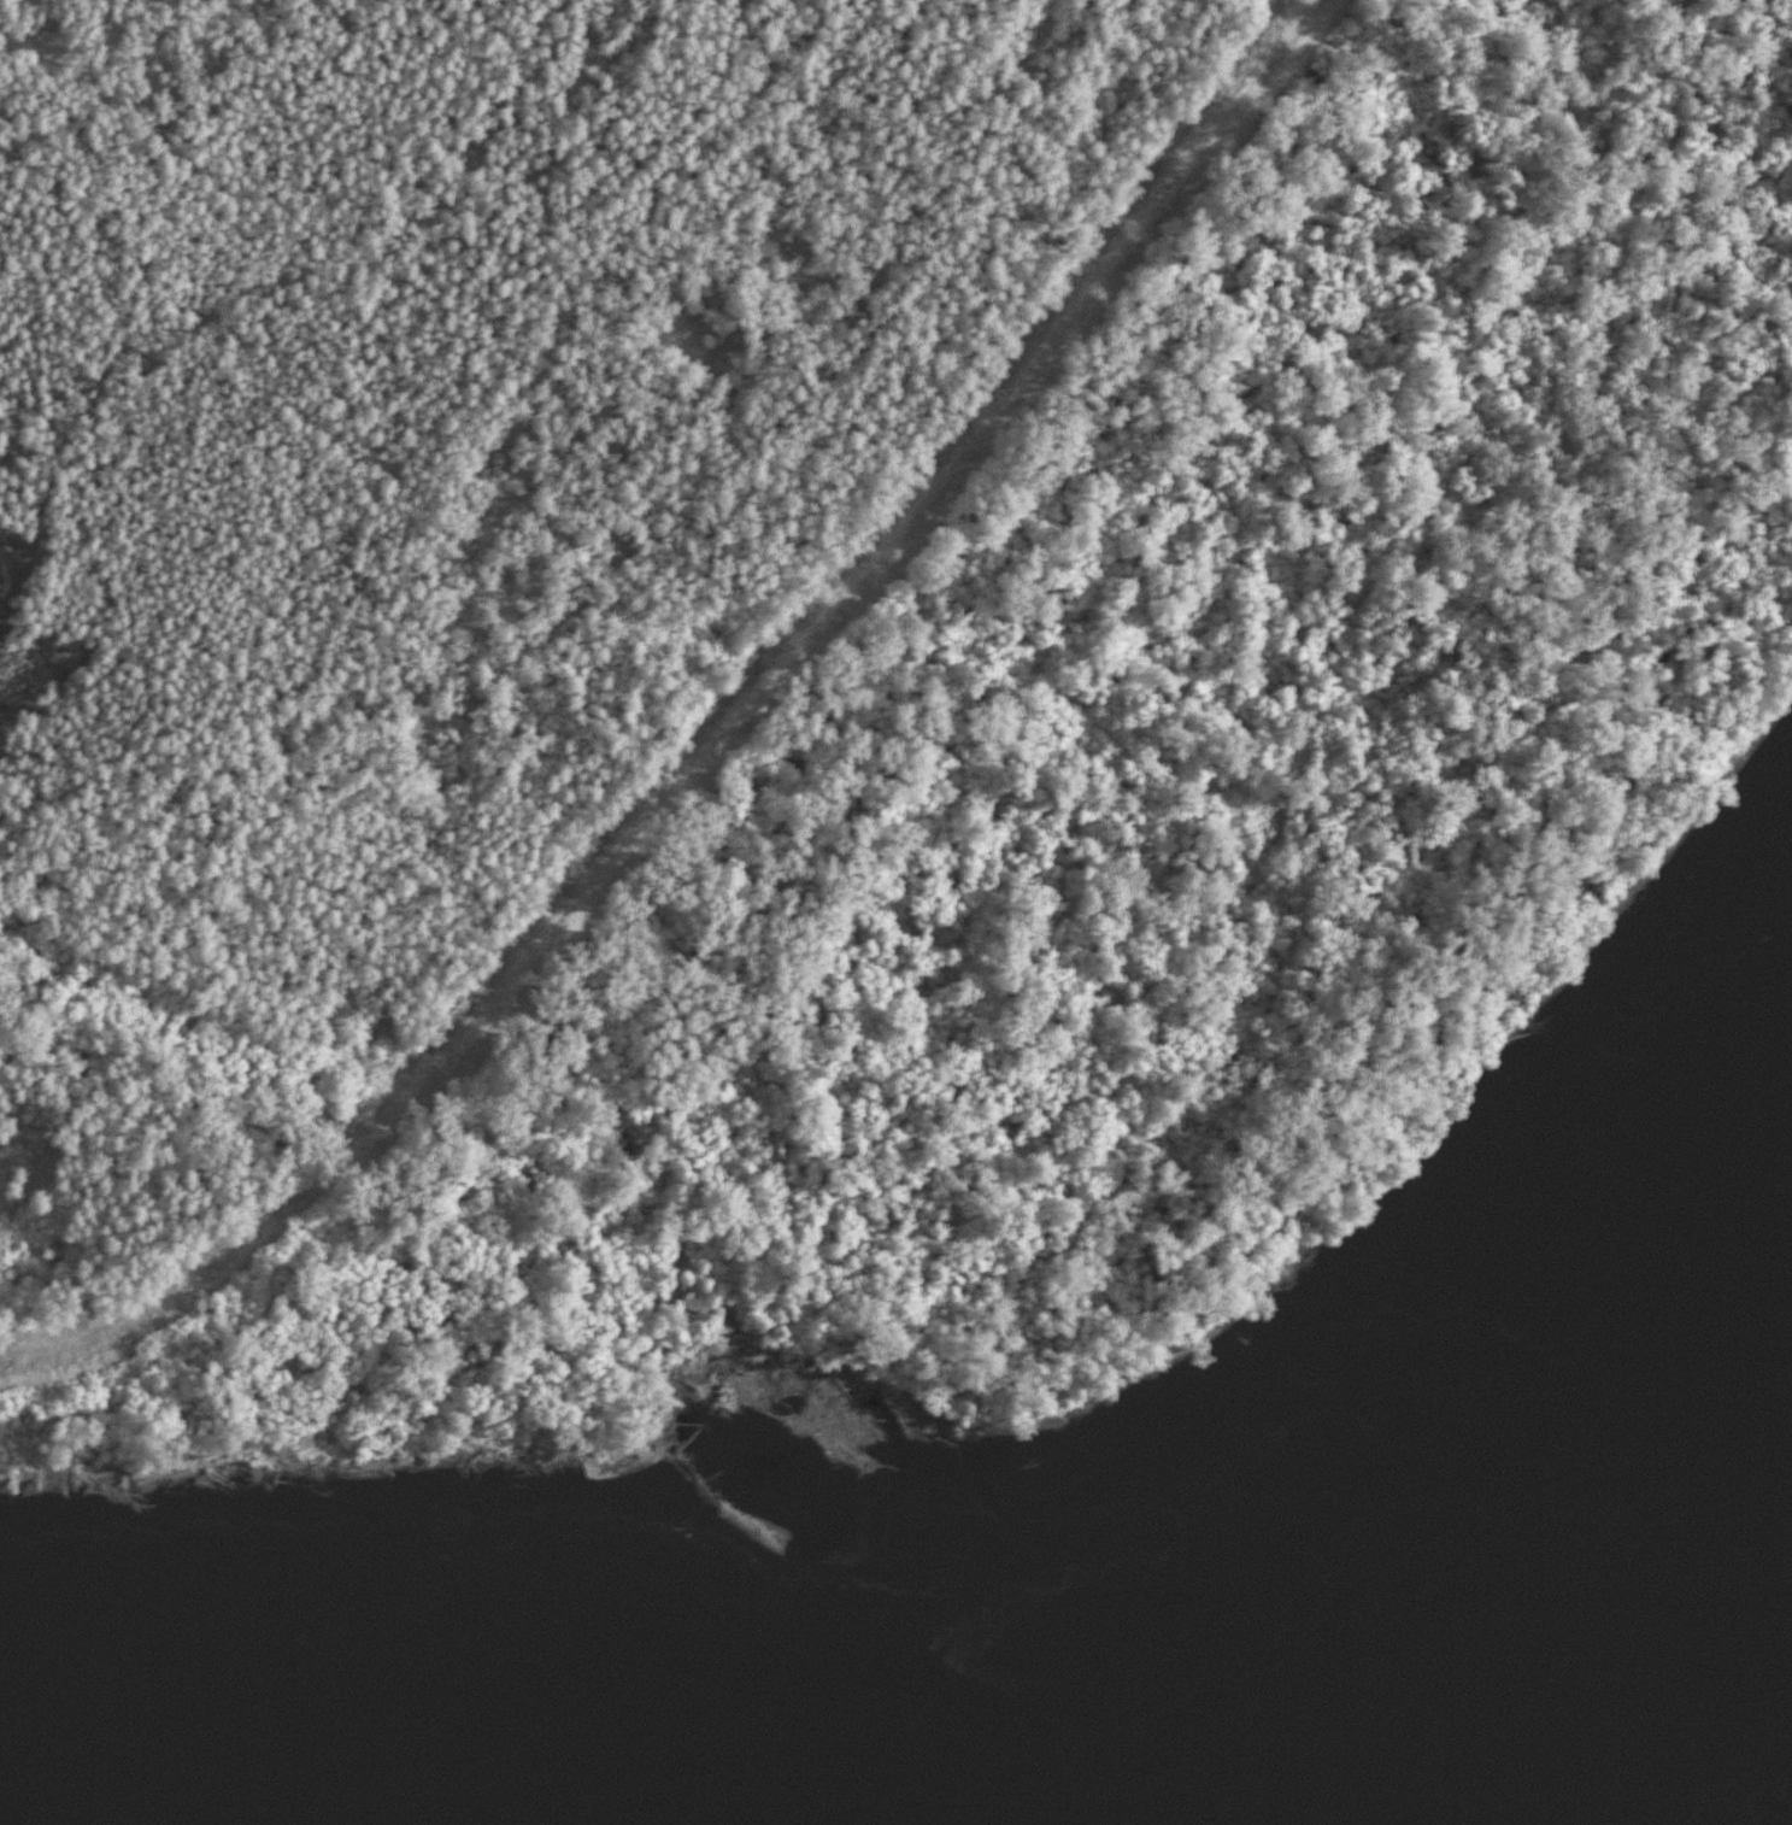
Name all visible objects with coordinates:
river: (1659, 1747)

